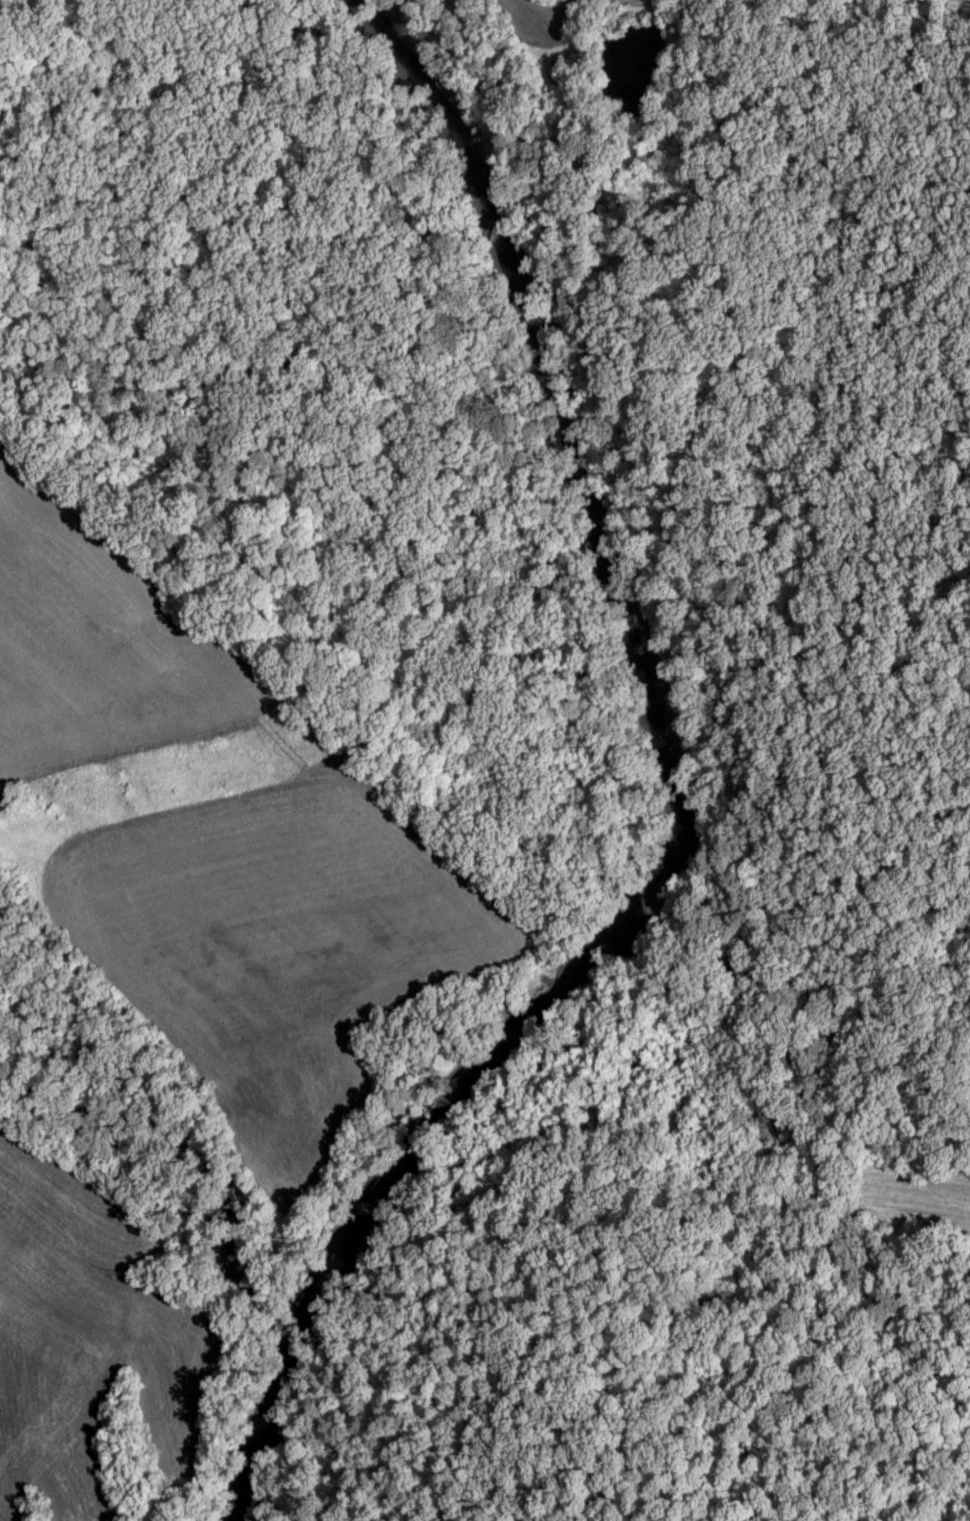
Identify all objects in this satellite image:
river: (679, 798)

